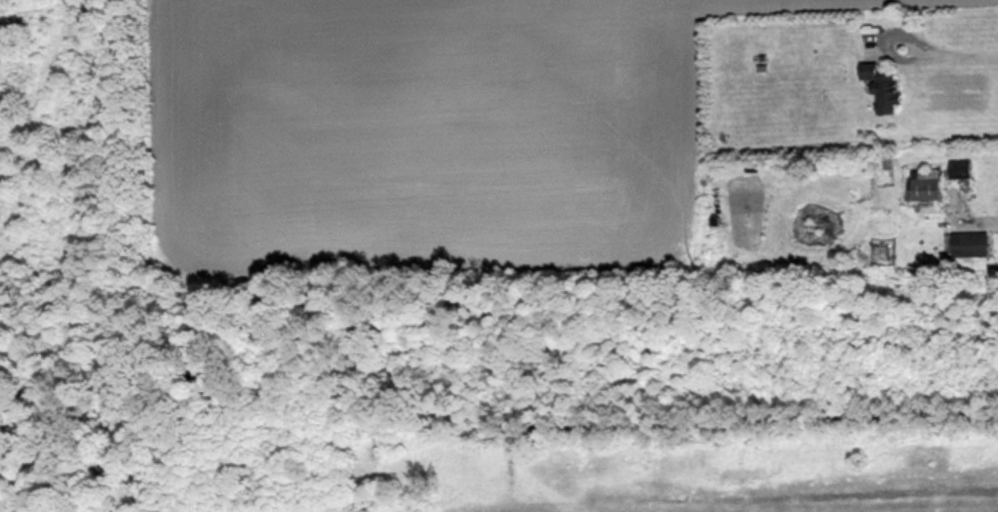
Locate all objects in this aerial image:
road: (945, 48)
building: (879, 89)
building: (959, 169)
building: (924, 184)
building: (968, 244)

